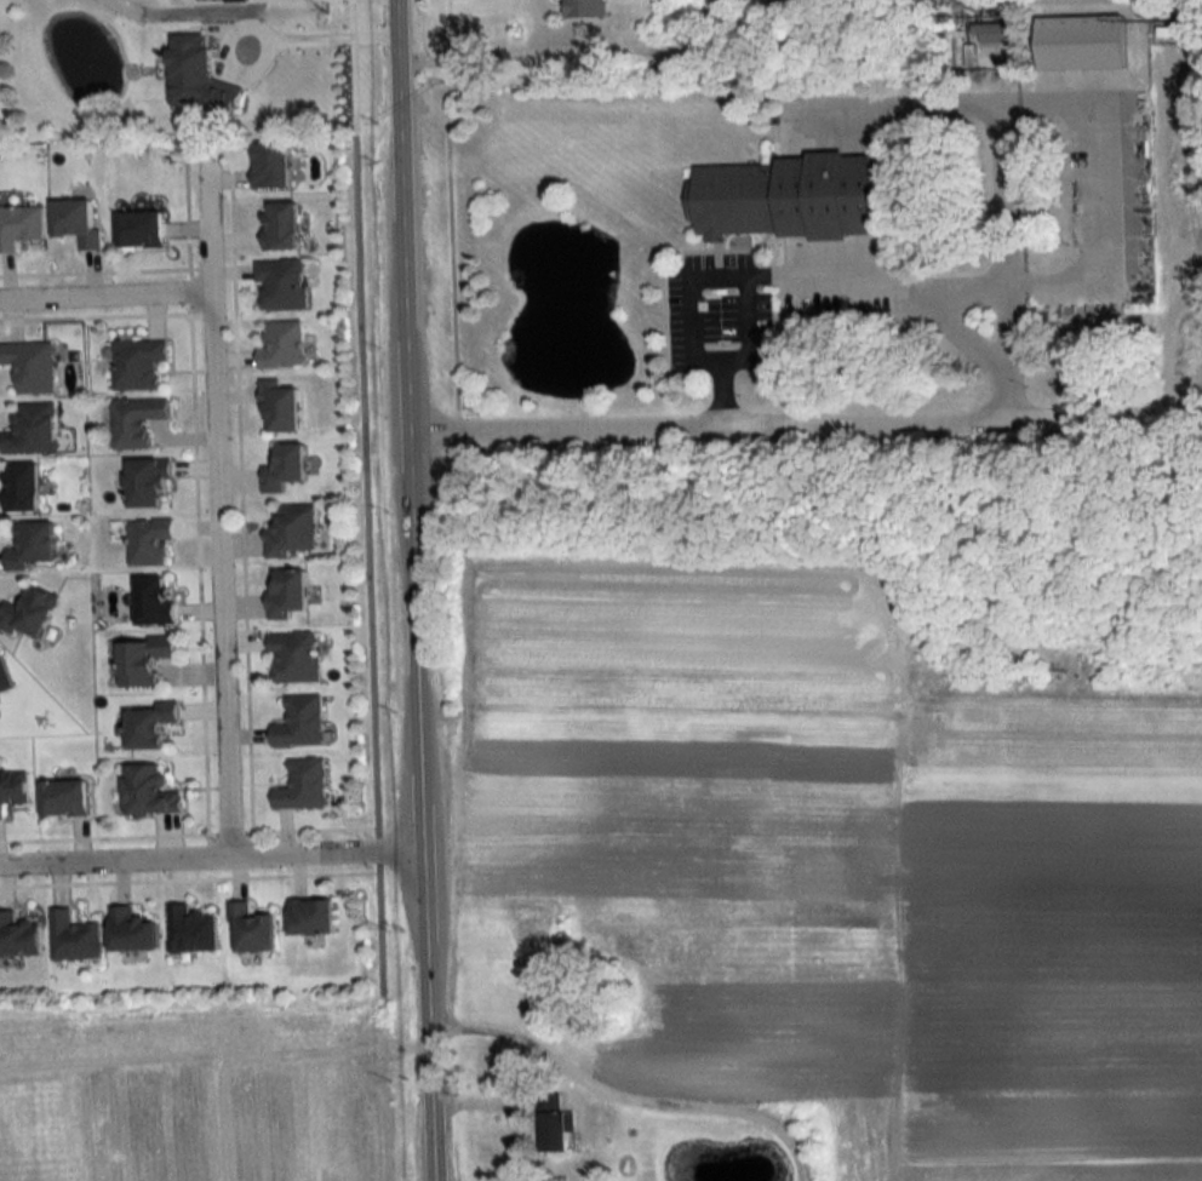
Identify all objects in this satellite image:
building: (584, 8)
road: (330, 36)
building: (985, 39)
building: (1081, 42)
road: (469, 61)
building: (271, 165)
road: (1089, 188)
building: (788, 197)
building: (75, 223)
building: (19, 225)
building: (281, 225)
building: (141, 229)
road: (762, 275)
building: (281, 285)
road: (105, 293)
road: (963, 325)
road: (744, 329)
building: (281, 344)
building: (137, 363)
building: (30, 366)
building: (279, 407)
road: (951, 417)
building: (134, 422)
road: (406, 426)
building: (32, 430)
building: (148, 483)
building: (21, 487)
road: (218, 504)
building: (293, 529)
building: (150, 543)
building: (30, 545)
building: (286, 592)
building: (154, 601)
building: (28, 613)
building: (293, 657)
building: (143, 660)
building: (4, 677)
building: (299, 722)
building: (150, 726)
building: (302, 786)
building: (12, 790)
building: (148, 791)
building: (63, 798)
road: (210, 860)
crop: (845, 864)
building: (310, 918)
building: (252, 929)
building: (190, 930)
building: (131, 931)
building: (18, 938)
building: (73, 938)
road: (424, 1017)
crop: (194, 1100)
building: (553, 1125)

